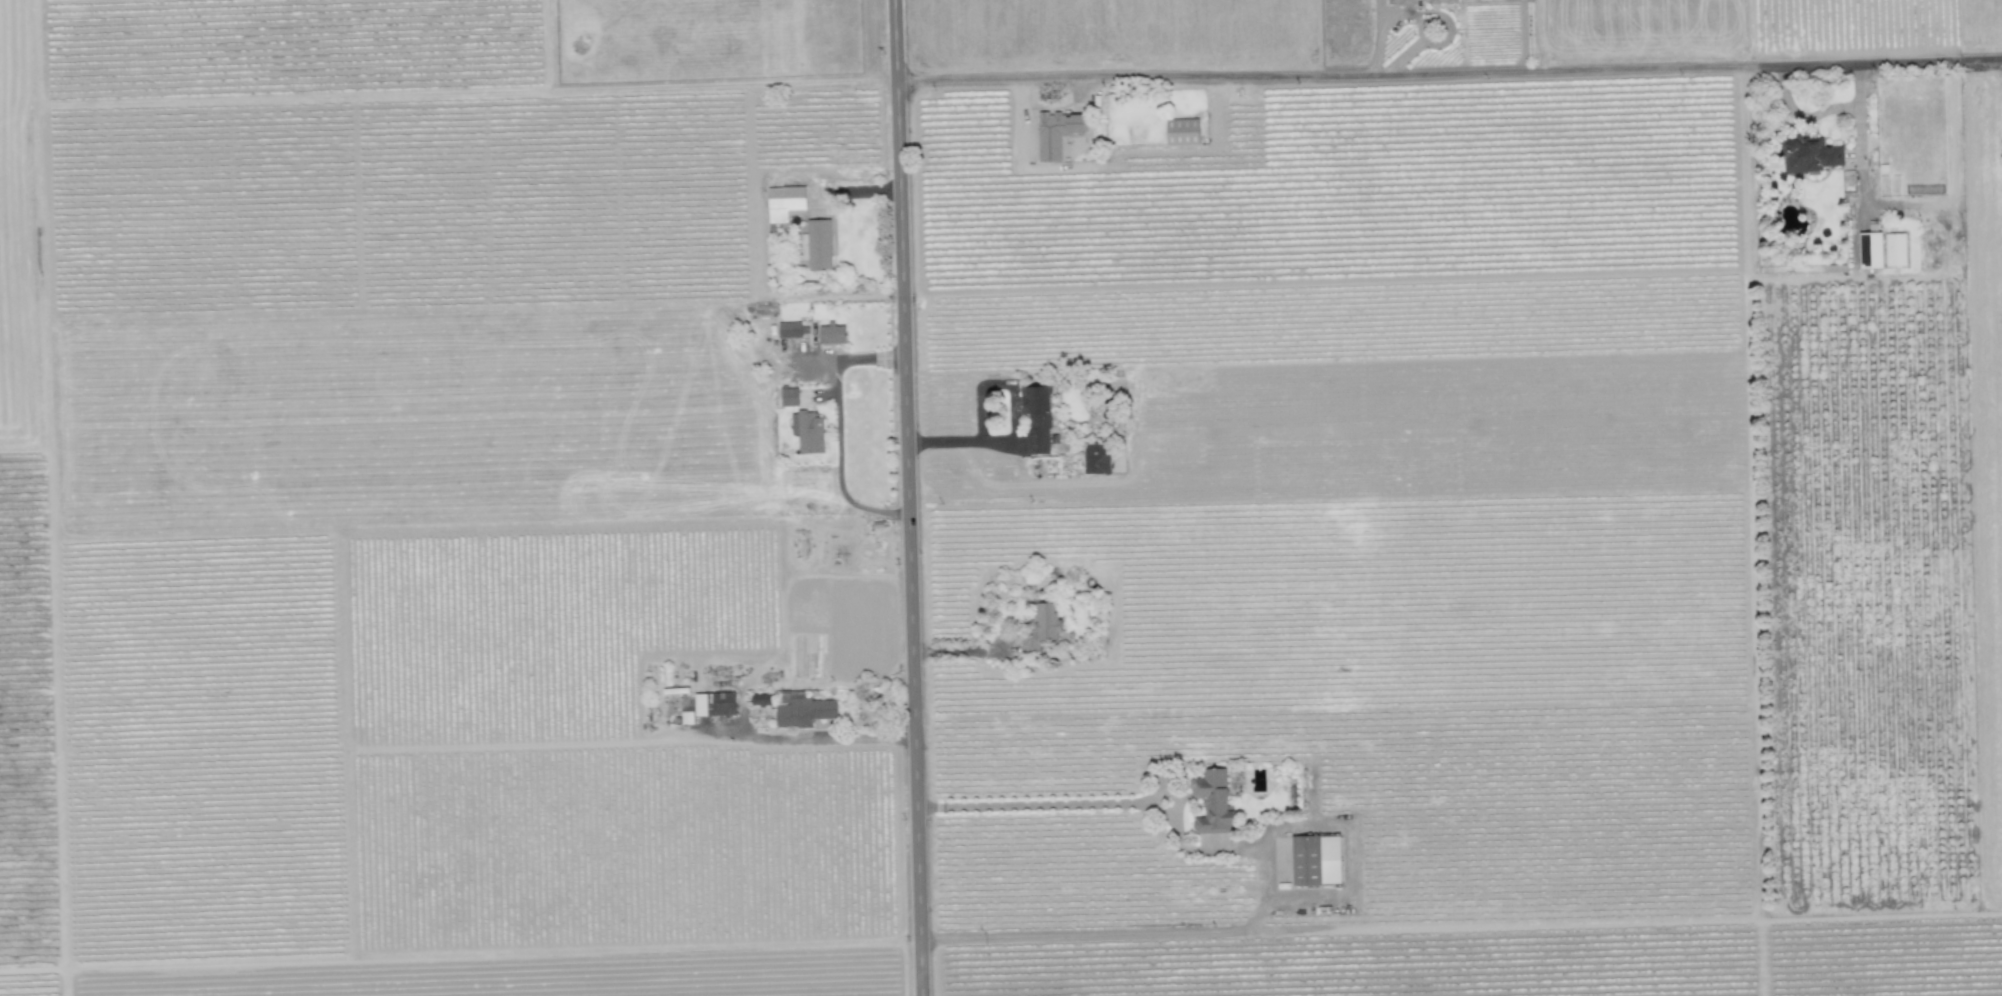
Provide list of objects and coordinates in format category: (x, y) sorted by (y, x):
road: (1449, 72)
building: (1183, 131)
building: (1057, 132)
building: (1811, 156)
building: (785, 201)
road: (1910, 205)
building: (1895, 249)
building: (1871, 250)
building: (789, 329)
building: (832, 334)
building: (789, 396)
building: (1037, 419)
road: (1016, 421)
road: (837, 429)
building: (808, 431)
building: (1096, 458)
road: (904, 498)
building: (1042, 627)
building: (760, 699)
building: (723, 703)
building: (701, 704)
building: (802, 709)
road: (817, 738)
building: (1212, 801)
road: (1037, 802)
road: (1326, 825)
building: (1316, 859)
road: (1460, 925)

